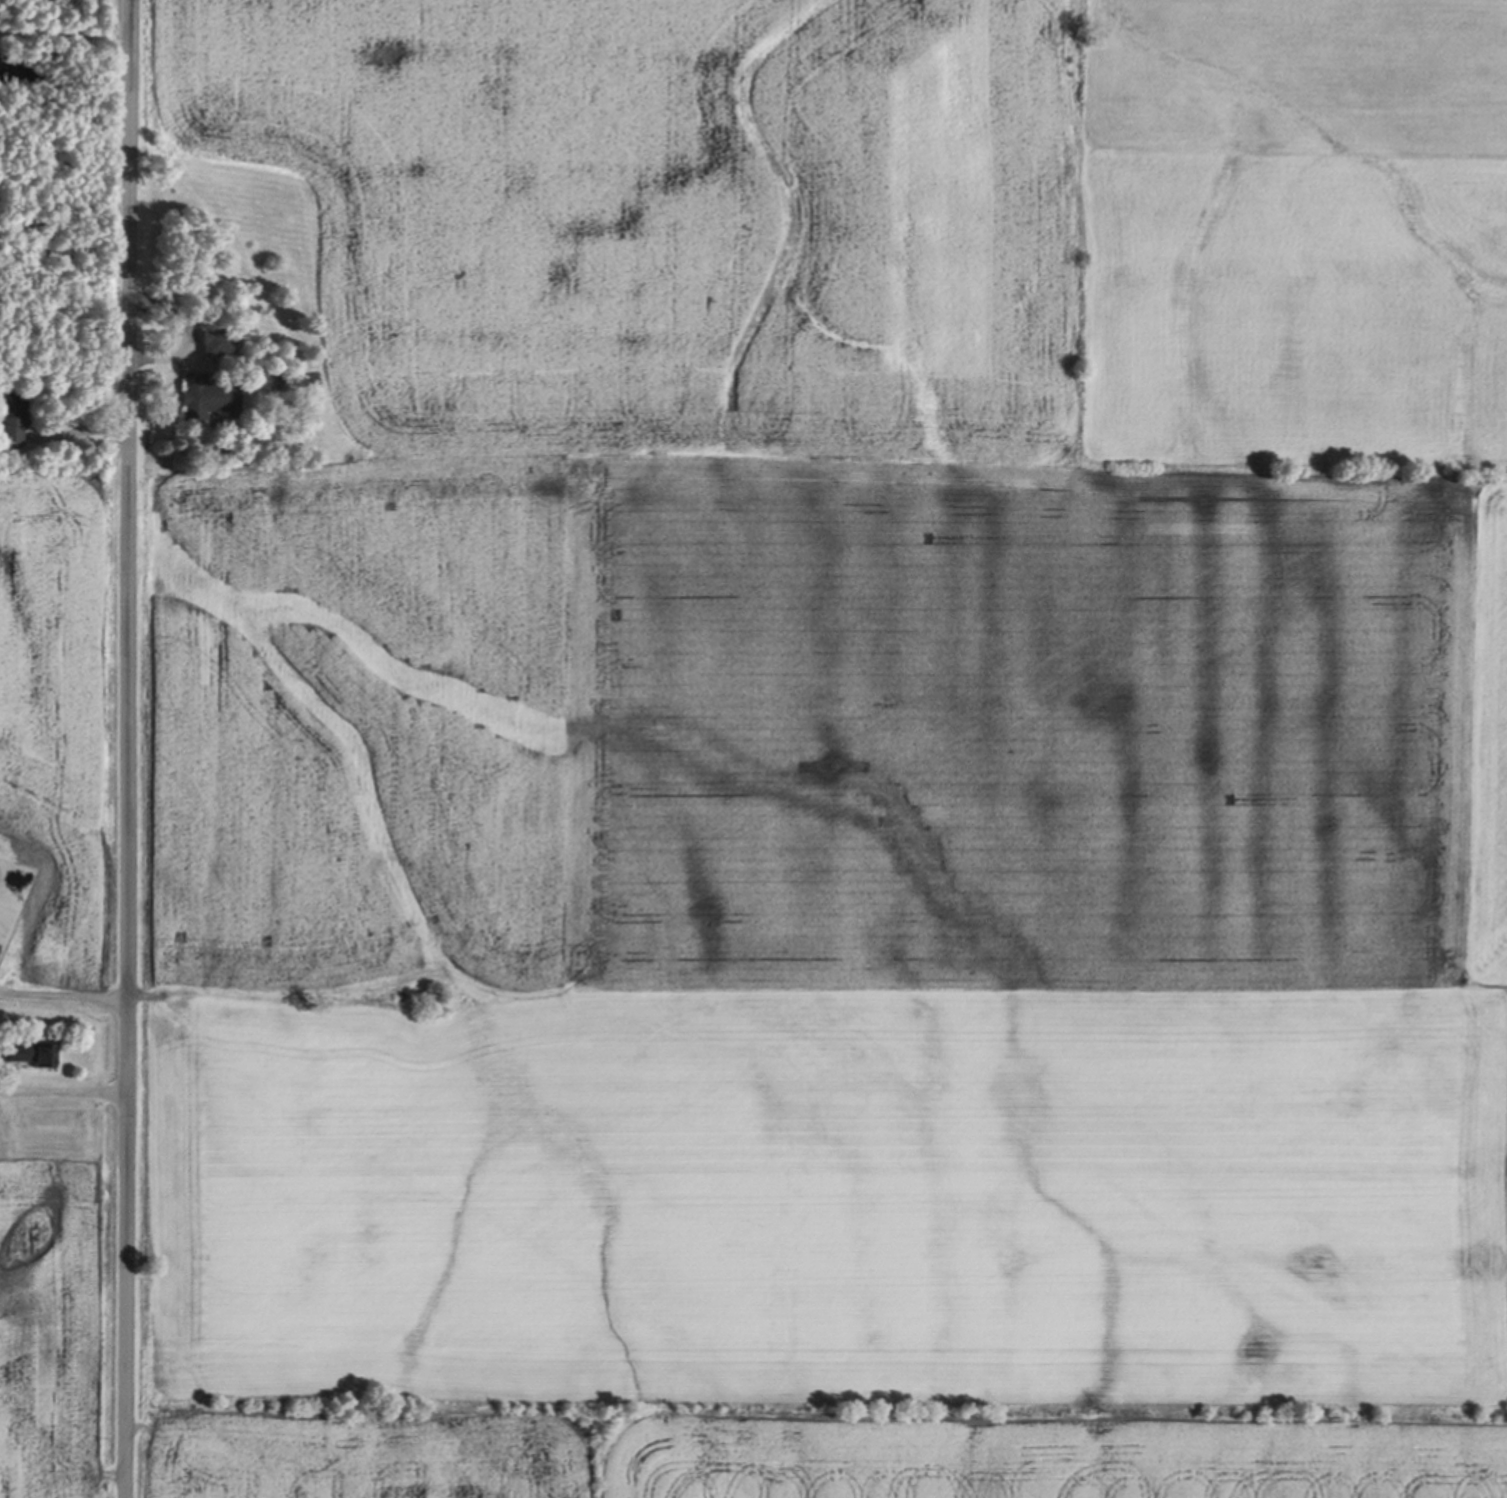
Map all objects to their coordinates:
building: (218, 342)
building: (280, 379)
building: (207, 397)
building: (12, 418)
road: (128, 748)
road: (63, 993)
building: (31, 1054)
road: (63, 1091)

